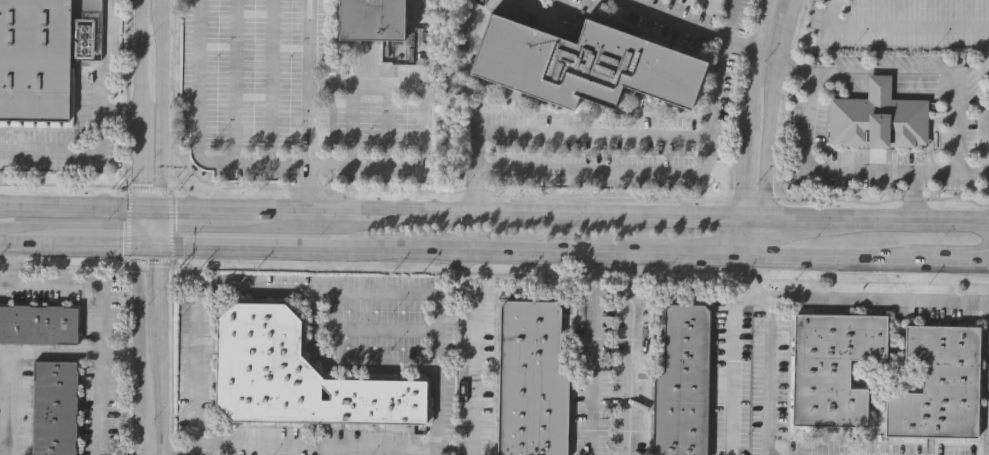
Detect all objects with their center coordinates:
building: (369, 20)
road: (674, 20)
building: (86, 28)
road: (895, 29)
road: (742, 44)
building: (35, 59)
building: (584, 62)
road: (839, 83)
road: (878, 84)
road: (163, 104)
road: (308, 105)
road: (751, 107)
road: (770, 107)
road: (955, 107)
road: (117, 111)
building: (877, 117)
road: (96, 121)
road: (422, 128)
road: (622, 134)
road: (956, 144)
road: (126, 155)
road: (237, 163)
road: (609, 169)
road: (833, 170)
road: (179, 180)
road: (468, 191)
road: (912, 195)
road: (883, 199)
road: (750, 200)
road: (68, 206)
traffic signals: (137, 207)
road: (150, 208)
traffic signals: (163, 209)
road: (267, 211)
road: (556, 214)
road: (752, 217)
road: (797, 218)
road: (910, 220)
road: (163, 224)
road: (126, 225)
road: (169, 226)
road: (137, 227)
road: (748, 234)
road: (758, 235)
road: (150, 240)
traffic signals: (163, 240)
road: (72, 241)
traffic signals: (137, 241)
road: (4, 242)
road: (408, 244)
road: (704, 251)
road: (841, 254)
road: (958, 258)
road: (8, 262)
road: (62, 265)
road: (578, 275)
road: (446, 285)
road: (316, 290)
road: (879, 301)
road: (101, 319)
building: (38, 322)
road: (472, 346)
road: (162, 347)
road: (736, 349)
road: (4, 351)
road: (593, 351)
road: (22, 352)
road: (630, 352)
building: (832, 366)
road: (768, 367)
building: (295, 375)
building: (528, 380)
building: (682, 382)
building: (937, 383)
building: (51, 407)
road: (305, 441)
road: (177, 452)
road: (159, 453)

